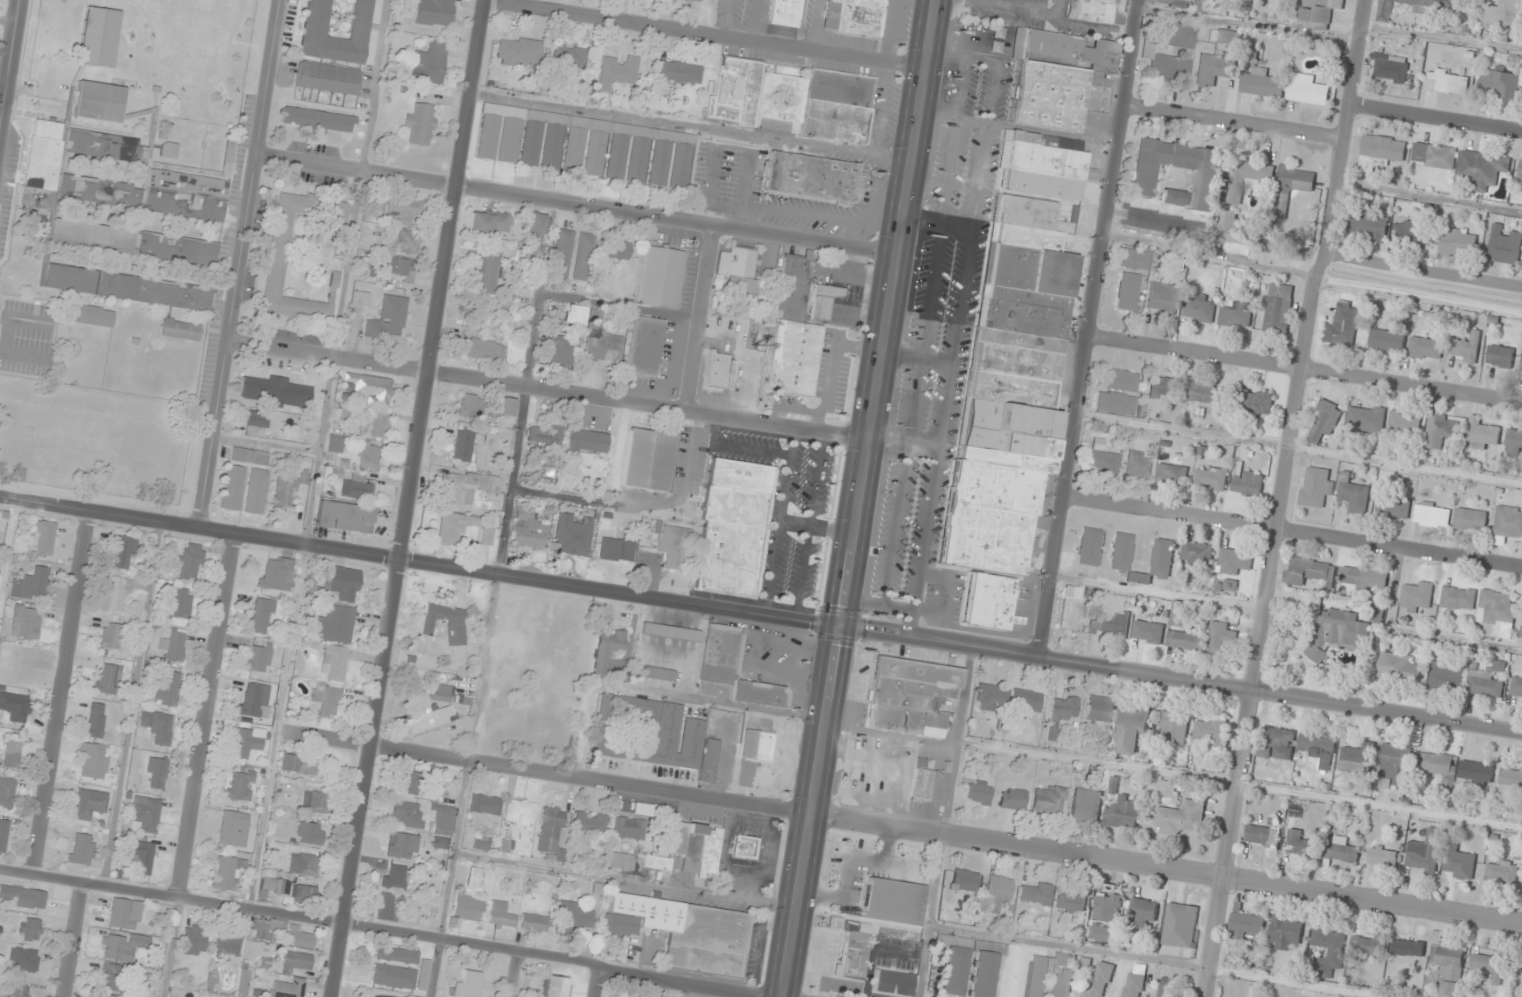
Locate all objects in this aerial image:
building: (697, 0)
building: (1198, 0)
building: (1442, 2)
building: (1091, 10)
building: (1385, 10)
building: (434, 12)
building: (785, 12)
building: (1320, 12)
building: (1503, 15)
building: (854, 16)
building: (341, 30)
road: (704, 35)
building: (98, 37)
building: (1228, 37)
building: (997, 38)
building: (1169, 51)
building: (519, 52)
building: (569, 57)
road: (9, 59)
building: (429, 63)
building: (1389, 68)
building: (1214, 69)
building: (678, 72)
building: (616, 73)
building: (328, 78)
building: (1049, 80)
building: (1447, 82)
building: (1262, 84)
building: (1498, 84)
building: (1306, 90)
building: (755, 97)
building: (98, 101)
building: (836, 107)
road: (1435, 116)
road: (1233, 120)
building: (318, 121)
building: (421, 124)
building: (497, 134)
building: (531, 143)
building: (101, 145)
building: (552, 147)
building: (574, 150)
building: (1381, 152)
building: (595, 154)
building: (1434, 156)
building: (616, 157)
building: (637, 160)
building: (659, 163)
building: (42, 164)
building: (1044, 165)
building: (680, 166)
building: (1482, 169)
road: (255, 170)
building: (1520, 171)
building: (812, 177)
building: (1247, 178)
building: (1207, 183)
building: (1290, 188)
building: (99, 192)
building: (185, 195)
building: (1173, 197)
road: (575, 205)
building: (375, 207)
building: (404, 209)
building: (488, 221)
building: (1368, 226)
building: (536, 227)
building: (1410, 233)
building: (1235, 234)
building: (1458, 241)
building: (408, 242)
building: (133, 243)
building: (279, 245)
building: (1504, 246)
building: (618, 249)
building: (562, 253)
road: (1314, 253)
building: (584, 256)
building: (1133, 258)
building: (402, 269)
building: (739, 270)
building: (486, 271)
building: (659, 276)
building: (125, 287)
building: (1128, 291)
building: (360, 298)
building: (1162, 299)
building: (823, 301)
building: (1278, 309)
building: (1199, 310)
building: (573, 314)
building: (1237, 315)
building: (94, 316)
building: (388, 319)
road: (702, 319)
building: (1343, 326)
road: (1088, 327)
building: (180, 330)
building: (792, 333)
building: (1387, 340)
building: (602, 341)
building: (643, 346)
building: (1426, 348)
building: (559, 349)
building: (1465, 349)
building: (496, 350)
building: (1500, 356)
road: (1304, 368)
building: (1521, 369)
building: (715, 370)
building: (1118, 380)
building: (368, 387)
building: (1010, 387)
building: (1163, 387)
building: (276, 390)
road: (547, 391)
building: (1206, 394)
building: (1115, 403)
building: (1256, 403)
building: (471, 405)
building: (508, 407)
building: (344, 413)
building: (256, 418)
building: (1366, 419)
building: (377, 423)
building: (1324, 423)
building: (1404, 423)
building: (1441, 430)
building: (544, 433)
building: (1481, 435)
road: (215, 436)
building: (335, 443)
building: (1514, 443)
building: (587, 444)
building: (462, 445)
building: (368, 454)
building: (249, 456)
building: (648, 460)
building: (1102, 462)
building: (1137, 464)
building: (1172, 475)
building: (1211, 478)
building: (1248, 483)
building: (233, 487)
building: (357, 487)
building: (468, 487)
building: (1315, 487)
building: (255, 491)
building: (284, 493)
building: (1353, 495)
road: (1278, 496)
road: (410, 498)
road: (856, 498)
building: (1393, 506)
building: (1432, 515)
building: (344, 516)
building: (1471, 519)
building: (623, 522)
building: (1507, 524)
building: (453, 527)
building: (733, 527)
road: (1292, 530)
building: (529, 531)
building: (572, 534)
building: (487, 535)
building: (43, 539)
building: (673, 546)
building: (1089, 546)
building: (616, 549)
road: (8, 551)
building: (124, 551)
building: (1197, 553)
building: (1121, 555)
building: (1234, 560)
building: (190, 563)
building: (1307, 571)
building: (276, 573)
building: (1364, 577)
building: (344, 583)
building: (32, 585)
building: (1226, 586)
building: (119, 593)
building: (1417, 596)
building: (1458, 599)
building: (988, 602)
building: (177, 603)
building: (1072, 609)
building: (1497, 614)
road: (760, 615)
building: (260, 616)
building: (1177, 619)
building: (25, 622)
building: (1113, 623)
building: (335, 624)
building: (456, 628)
traffic signals: (837, 628)
building: (669, 632)
building: (1148, 632)
building: (1339, 633)
building: (1521, 633)
building: (110, 636)
building: (1221, 638)
building: (1183, 641)
building: (173, 646)
building: (605, 649)
building: (258, 658)
building: (333, 662)
building: (24, 667)
building: (1401, 667)
building: (734, 668)
building: (658, 673)
building: (1446, 676)
building: (108, 680)
building: (1486, 684)
building: (1516, 687)
building: (166, 688)
road: (60, 692)
building: (443, 694)
building: (911, 696)
building: (990, 698)
building: (253, 699)
building: (326, 700)
building: (1025, 702)
building: (13, 705)
building: (1100, 709)
building: (1061, 712)
road: (208, 716)
building: (430, 718)
building: (96, 720)
building: (157, 727)
building: (1133, 728)
building: (1173, 728)
building: (1210, 731)
building: (652, 734)
building: (247, 741)
building: (1276, 744)
building: (1316, 745)
building: (756, 746)
building: (12, 751)
building: (1358, 759)
building: (91, 762)
building: (298, 764)
building: (1438, 766)
building: (1392, 772)
building: (1476, 772)
building: (155, 773)
building: (746, 775)
building: (1511, 776)
building: (410, 782)
building: (239, 785)
building: (929, 786)
building: (6, 792)
building: (977, 792)
building: (1012, 799)
building: (1048, 799)
building: (314, 802)
building: (89, 804)
building: (484, 804)
building: (1085, 805)
building: (642, 809)
building: (519, 812)
building: (145, 813)
building: (1122, 813)
building: (407, 814)
building: (1180, 817)
building: (441, 820)
building: (589, 825)
road: (900, 825)
building: (233, 828)
building: (629, 828)
building: (549, 831)
building: (310, 833)
building: (3, 835)
building: (1262, 837)
building: (440, 843)
building: (479, 843)
building: (1299, 844)
building: (402, 846)
building: (697, 847)
building: (744, 847)
building: (81, 849)
building: (1341, 849)
building: (1425, 853)
building: (141, 857)
building: (1383, 857)
building: (618, 860)
building: (656, 862)
building: (1458, 862)
building: (303, 864)
building: (226, 872)
building: (1501, 873)
building: (395, 877)
building: (476, 878)
building: (964, 880)
building: (998, 892)
building: (1035, 893)
building: (306, 895)
building: (32, 898)
building: (893, 901)
building: (1070, 903)
building: (387, 907)
building: (467, 908)
building: (122, 913)
building: (1144, 914)
building: (500, 915)
building: (1107, 917)
building: (572, 918)
building: (534, 923)
building: (1245, 925)
building: (1180, 926)
building: (269, 927)
building: (29, 929)
road: (385, 930)
building: (683, 932)
building: (1284, 932)
building: (300, 937)
road: (73, 940)
building: (194, 940)
building: (227, 943)
building: (1367, 944)
building: (122, 946)
road: (173, 947)
building: (1408, 948)
building: (380, 951)
building: (1328, 952)
building: (853, 956)
building: (422, 957)
building: (23, 960)
building: (294, 961)
building: (1447, 965)
building: (1488, 966)
building: (953, 970)
building: (981, 974)
building: (1060, 974)
road: (516, 975)
building: (112, 978)
building: (1099, 979)
road: (599, 980)
building: (893, 982)
building: (1133, 983)
building: (467, 985)
building: (555, 987)
building: (1164, 987)
building: (19, 988)
building: (288, 988)
building: (101, 995)
building: (409, 996)

